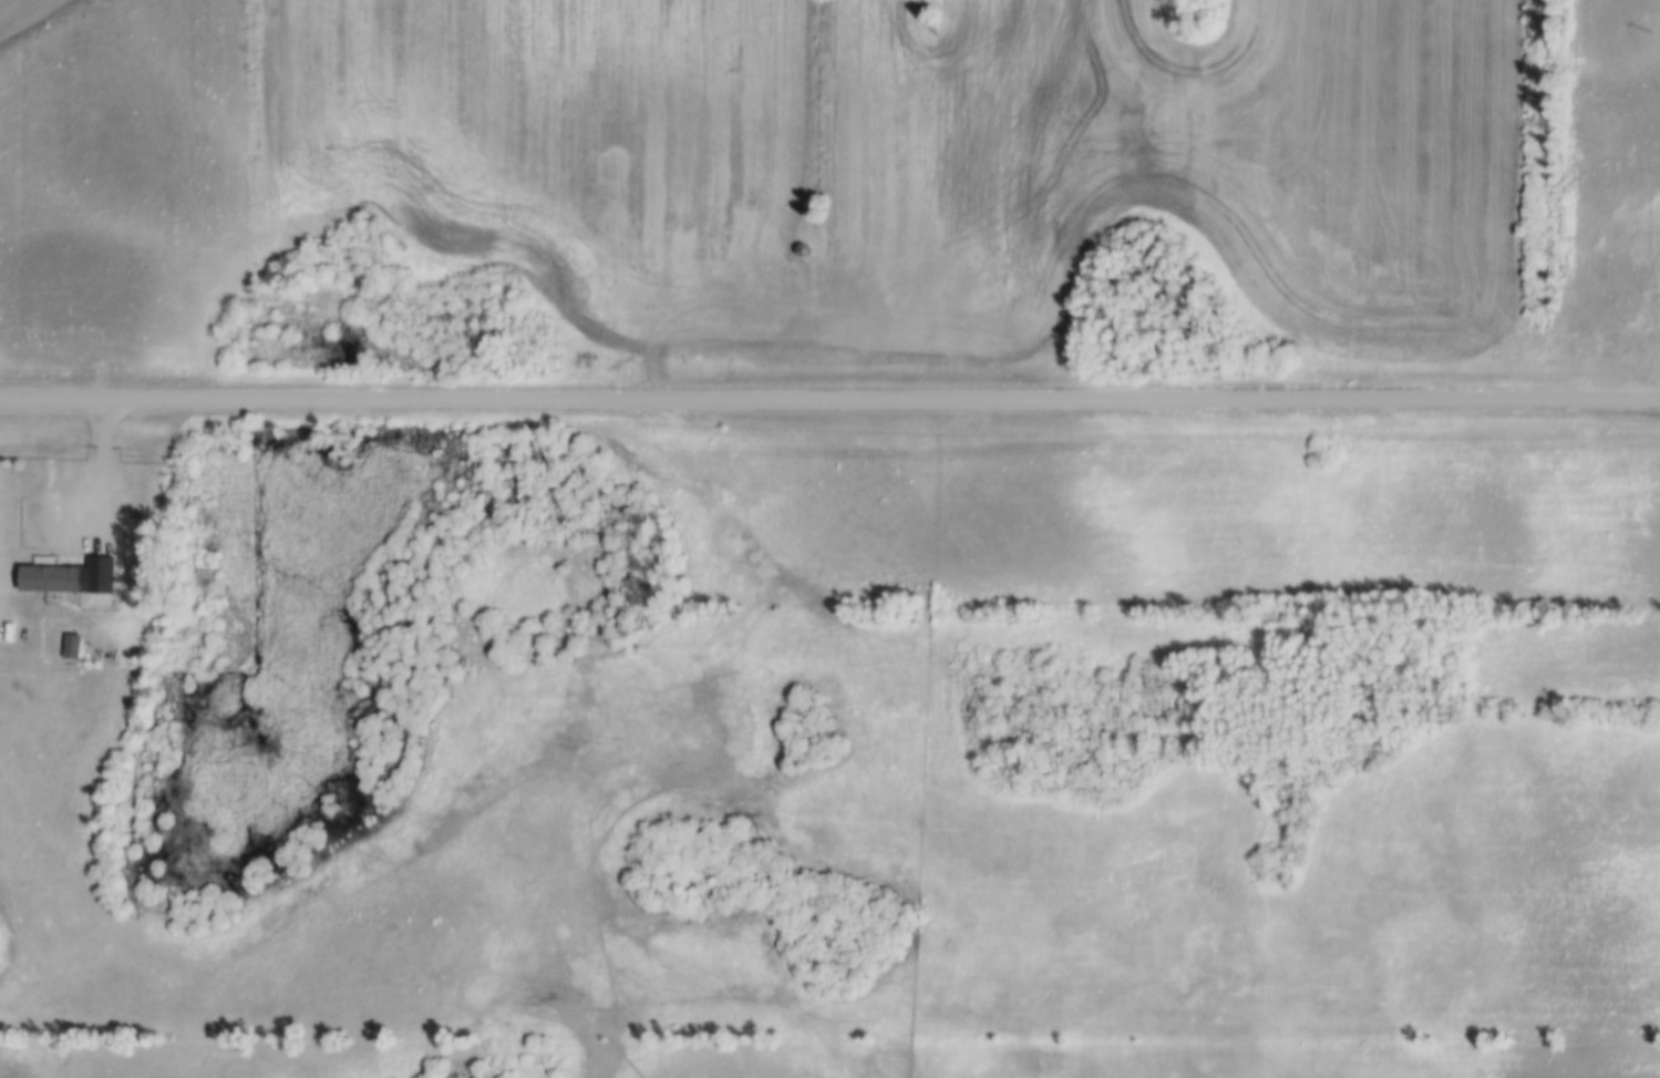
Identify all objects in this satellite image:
building: (801, 251)
road: (829, 401)
building: (53, 578)

